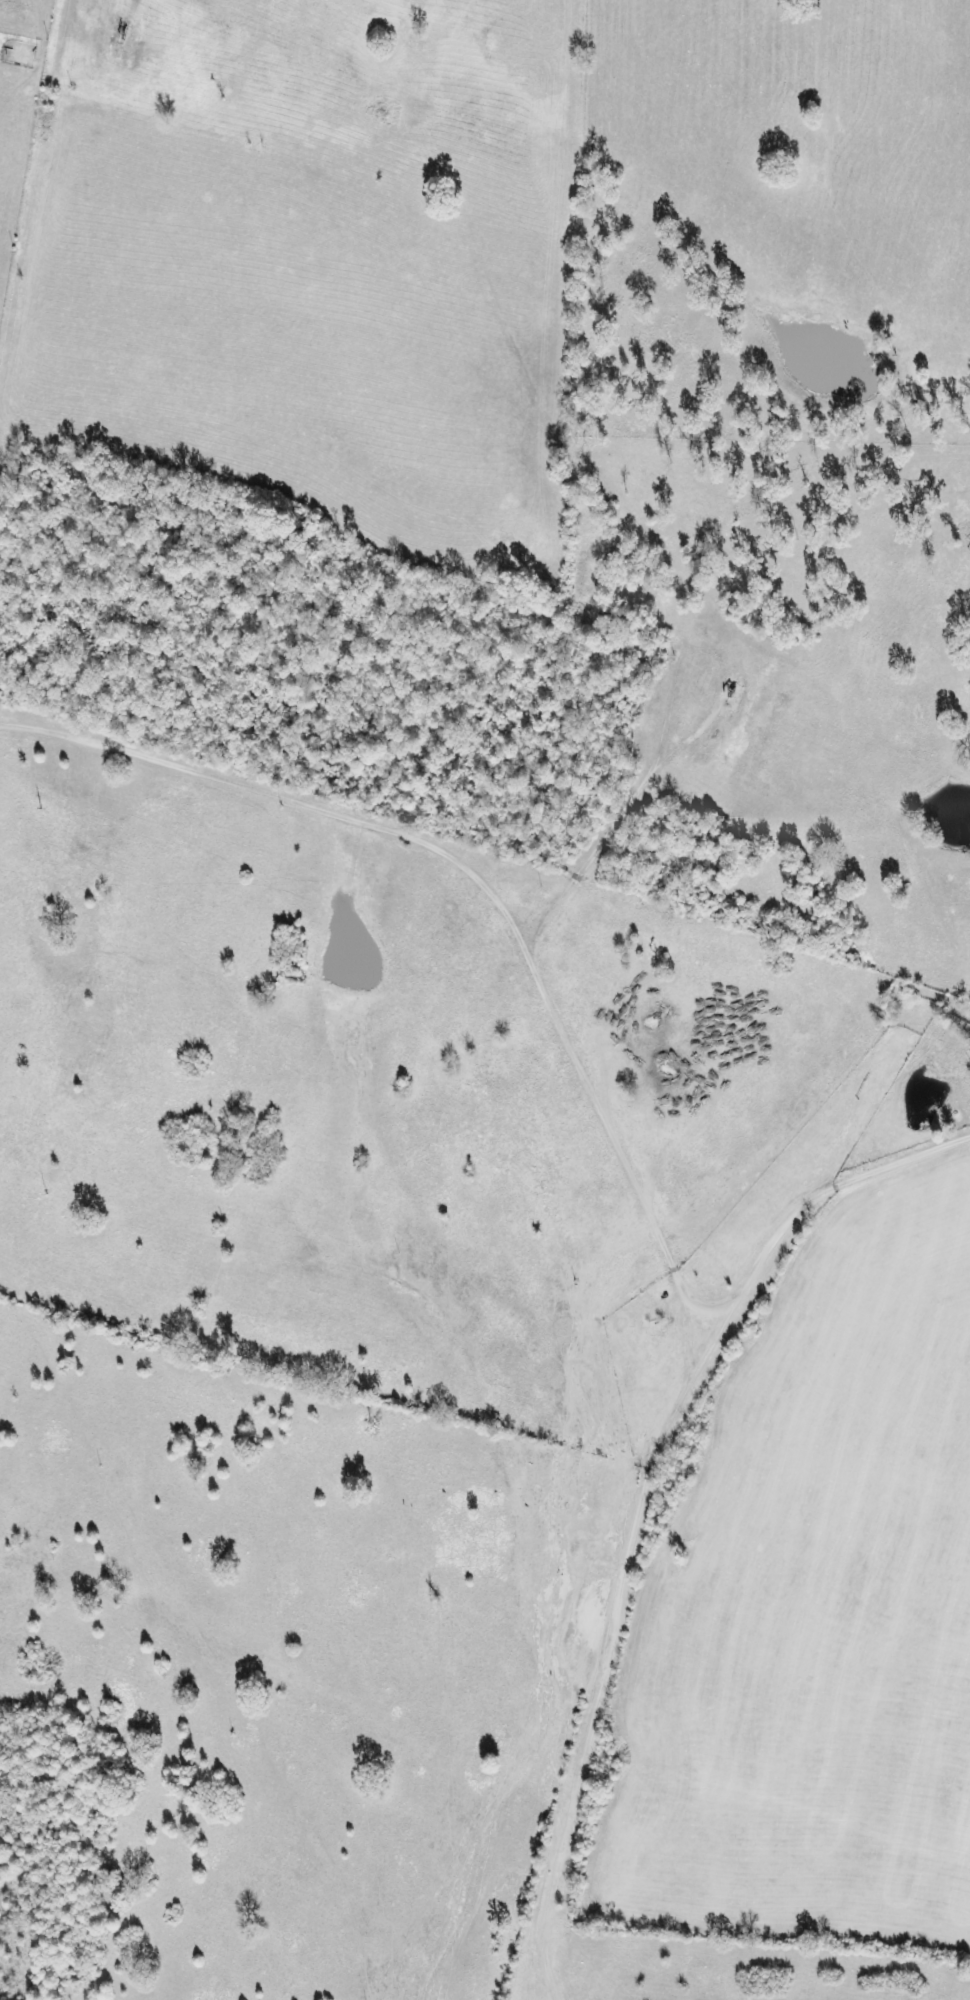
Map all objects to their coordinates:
road: (33, 220)
road: (650, 1178)

